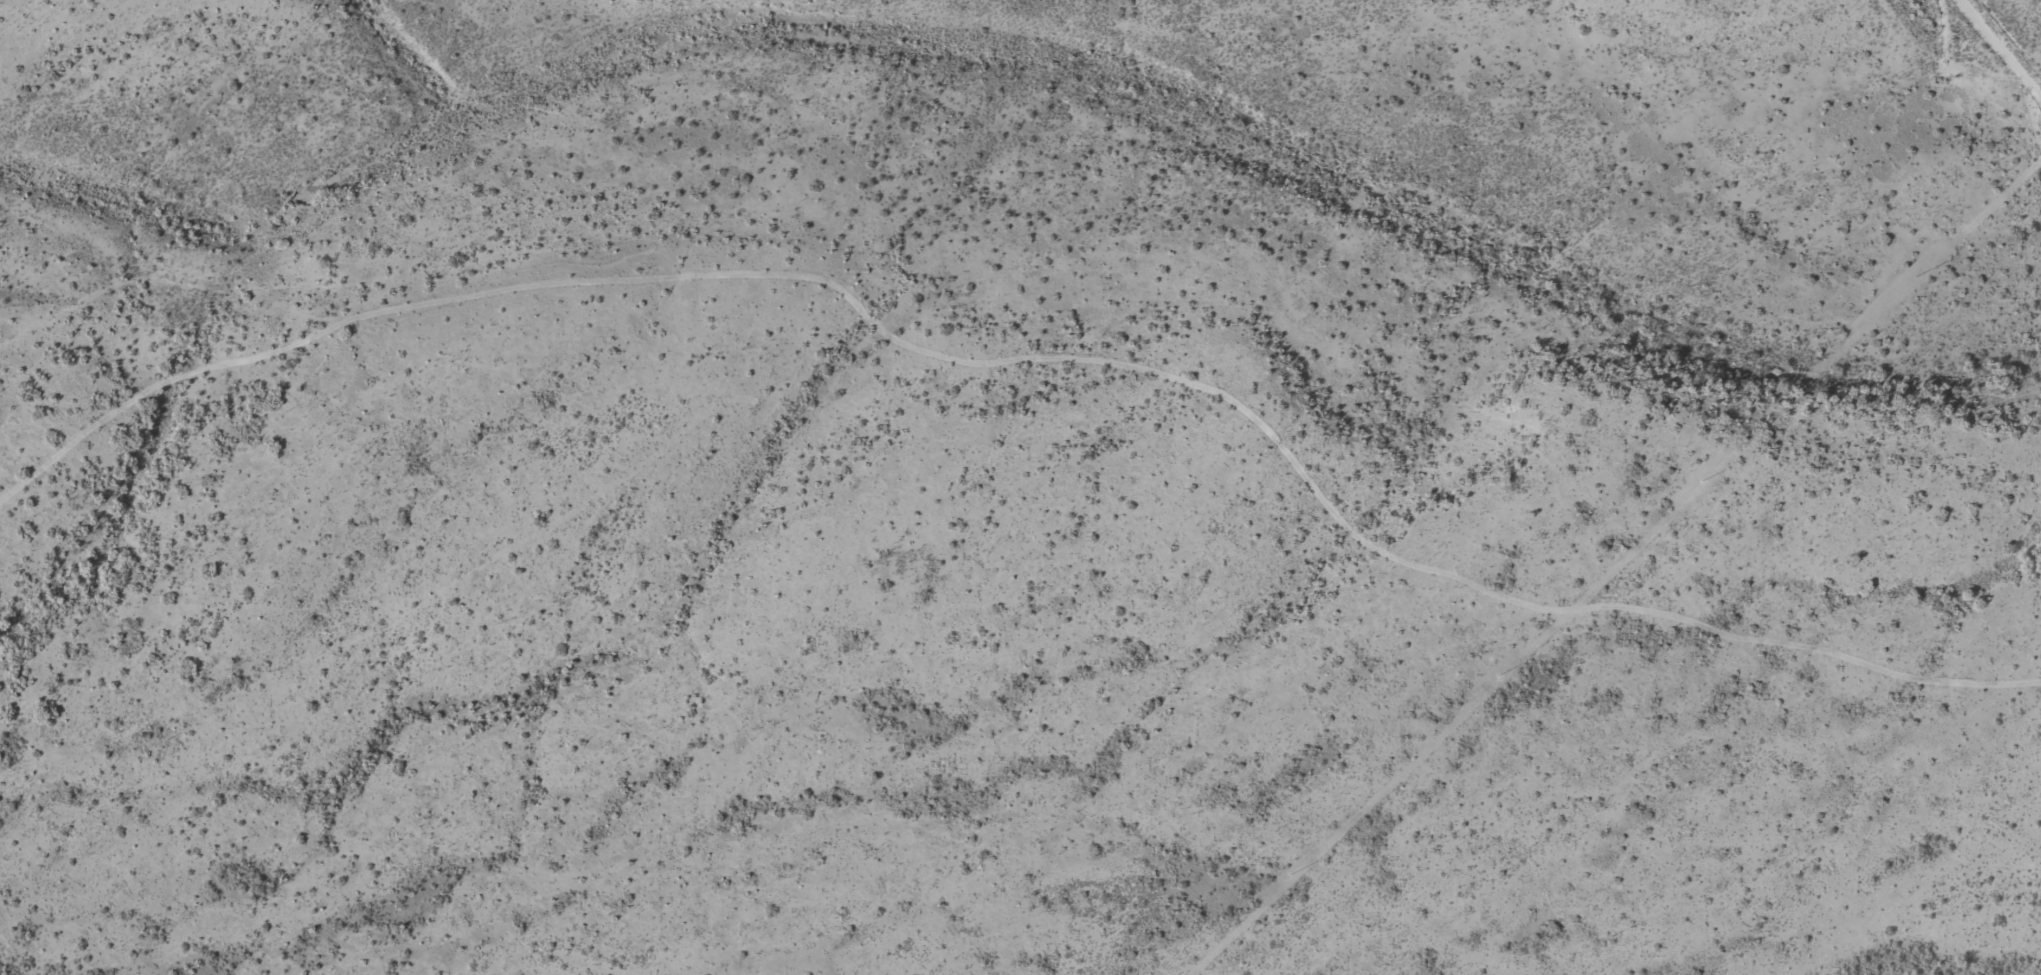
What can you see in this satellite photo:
road: (2001, 45)

